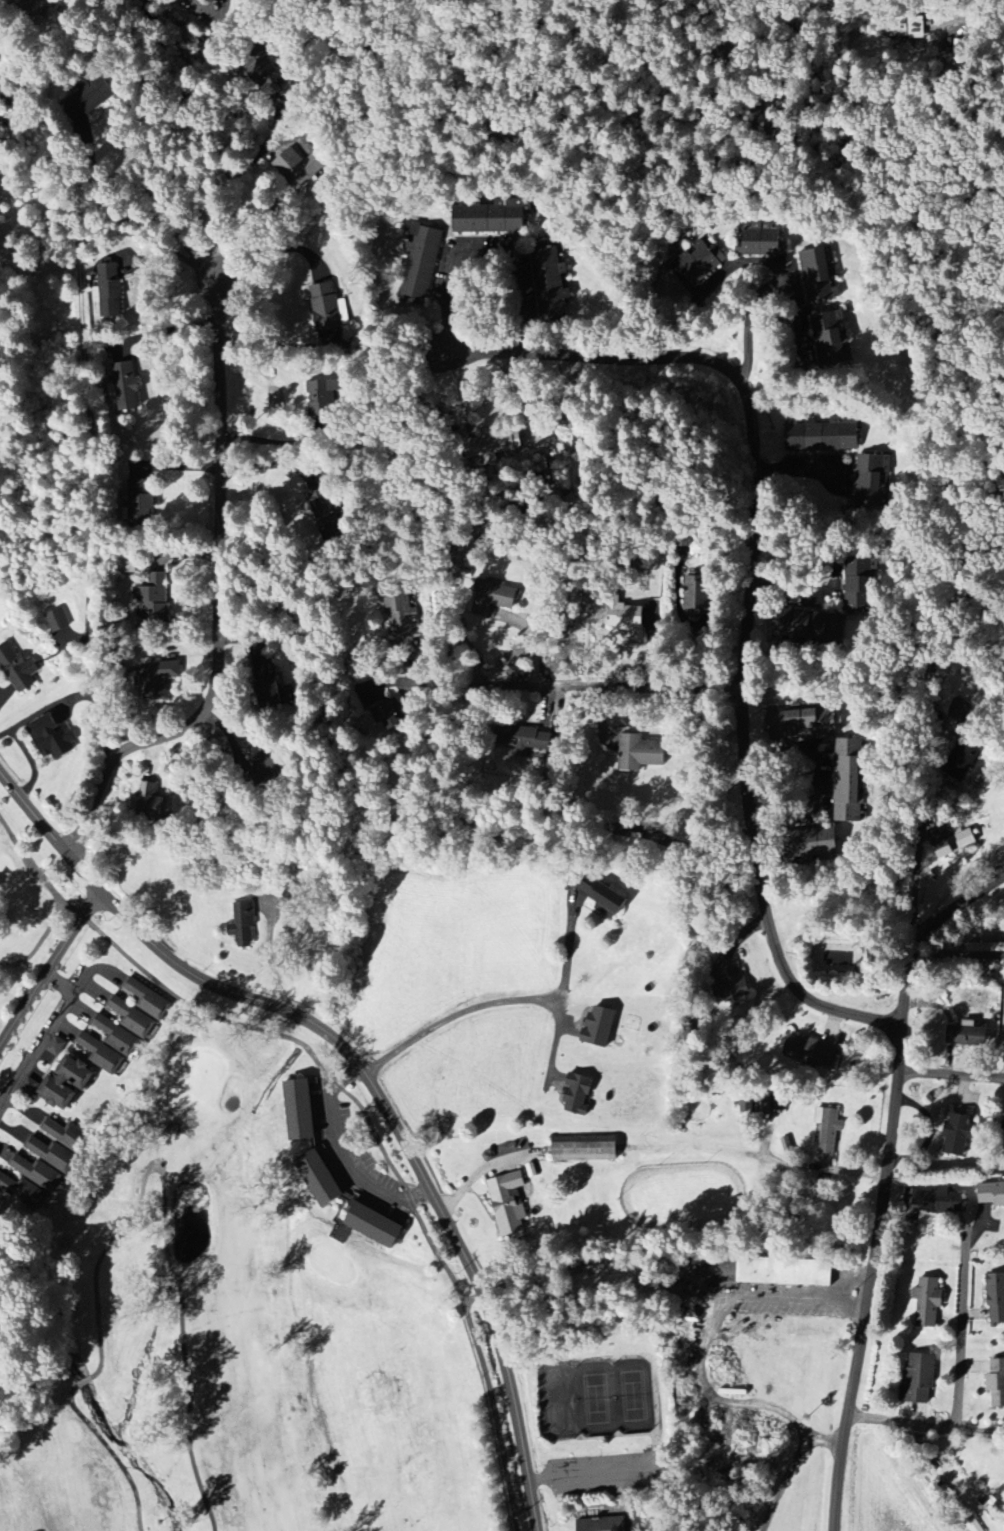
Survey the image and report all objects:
building: (31, 8)
road: (978, 25)
building: (910, 29)
building: (261, 70)
building: (94, 95)
building: (2, 138)
road: (235, 140)
road: (254, 162)
building: (299, 168)
building: (489, 218)
road: (122, 219)
road: (490, 238)
building: (763, 238)
road: (753, 251)
road: (269, 252)
road: (174, 253)
building: (700, 261)
building: (544, 262)
building: (421, 266)
building: (820, 272)
building: (110, 291)
building: (326, 308)
road: (797, 318)
road: (748, 327)
road: (165, 330)
building: (833, 336)
road: (274, 345)
building: (127, 392)
building: (323, 399)
road: (92, 421)
building: (821, 435)
building: (488, 449)
road: (819, 458)
building: (870, 477)
building: (140, 503)
road: (750, 577)
road: (813, 589)
building: (861, 594)
building: (699, 597)
road: (220, 600)
building: (492, 600)
building: (155, 601)
building: (401, 616)
building: (626, 618)
building: (58, 621)
building: (819, 627)
building: (17, 670)
building: (159, 680)
road: (536, 689)
building: (270, 694)
building: (386, 716)
building: (804, 722)
building: (52, 739)
building: (532, 742)
building: (641, 754)
road: (830, 774)
building: (849, 780)
building: (154, 801)
road: (927, 804)
building: (817, 844)
building: (953, 844)
building: (604, 897)
building: (243, 925)
building: (985, 947)
road: (555, 954)
road: (273, 960)
road: (51, 972)
building: (730, 975)
building: (148, 1000)
building: (133, 1018)
road: (447, 1020)
building: (600, 1026)
road: (42, 1036)
building: (968, 1036)
building: (118, 1037)
building: (57, 1047)
building: (810, 1052)
building: (101, 1054)
road: (952, 1076)
road: (369, 1078)
building: (67, 1084)
building: (29, 1087)
building: (578, 1094)
building: (773, 1103)
building: (747, 1104)
building: (300, 1109)
building: (1003, 1128)
building: (960, 1134)
building: (829, 1135)
building: (68, 1137)
road: (343, 1148)
building: (585, 1148)
building: (54, 1156)
building: (37, 1173)
building: (320, 1178)
road: (885, 1181)
building: (23, 1192)
building: (991, 1194)
building: (942, 1201)
building: (508, 1203)
road: (167, 1225)
building: (369, 1226)
building: (785, 1272)
road: (669, 1287)
road: (473, 1298)
building: (996, 1298)
building: (930, 1302)
road: (962, 1328)
building: (0, 1330)
park: (381, 1332)
road: (482, 1357)
building: (921, 1379)
road: (83, 1380)
building: (996, 1383)
road: (720, 1399)
road: (926, 1428)
road: (112, 1453)
road: (791, 1469)
road: (586, 1473)
road: (524, 1507)
building: (603, 1525)
building: (974, 1526)

